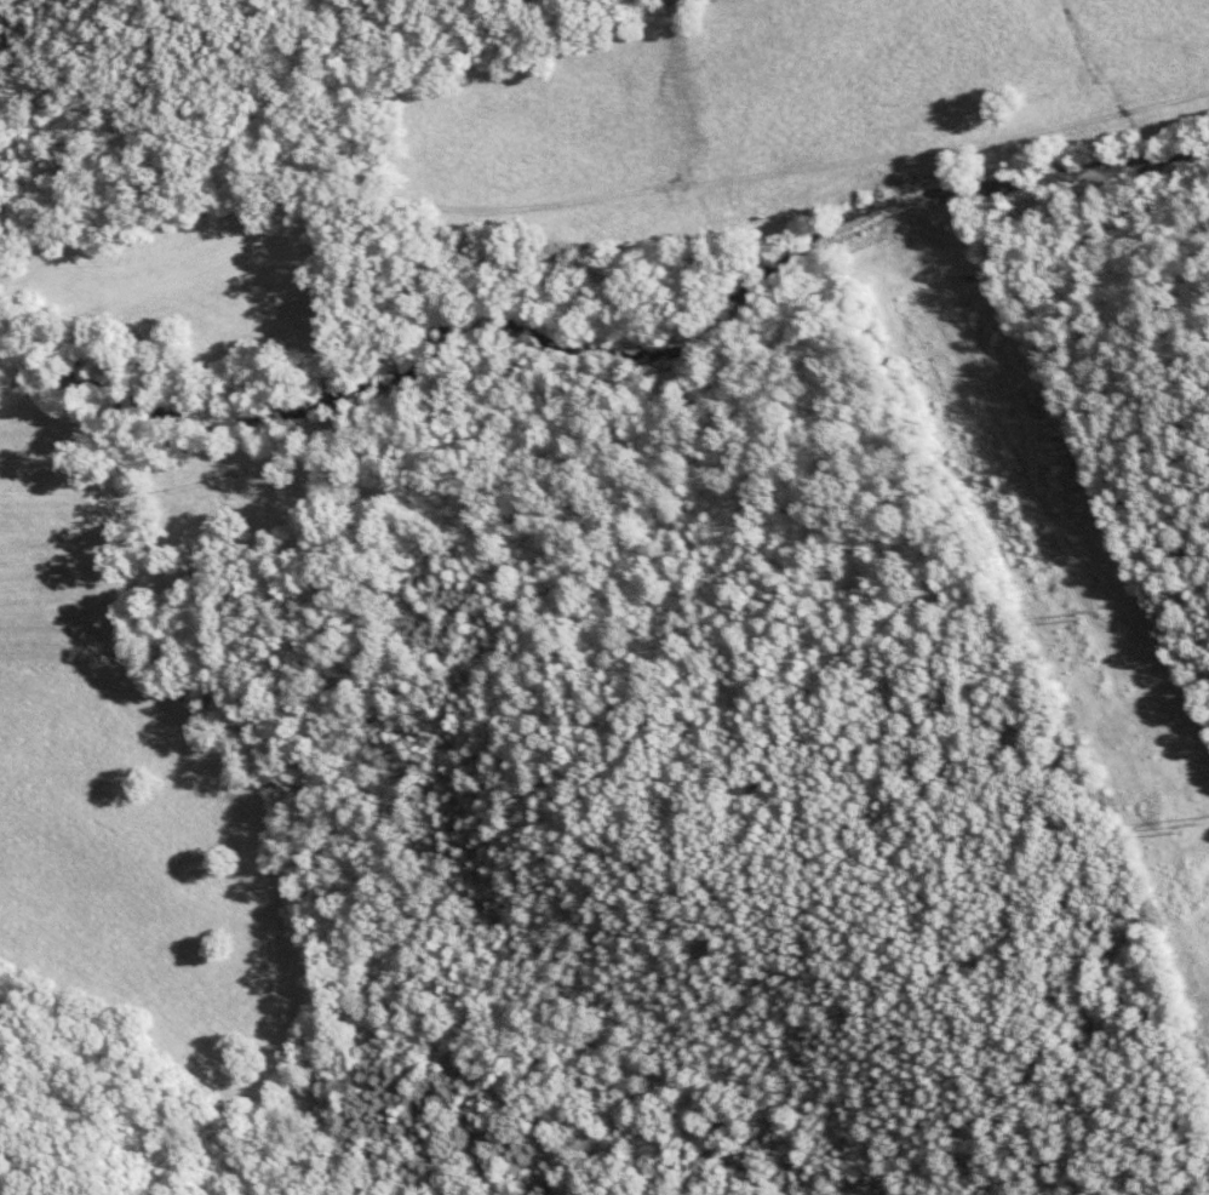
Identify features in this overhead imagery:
power tower: (1082, 619)
power tower: (1197, 825)

